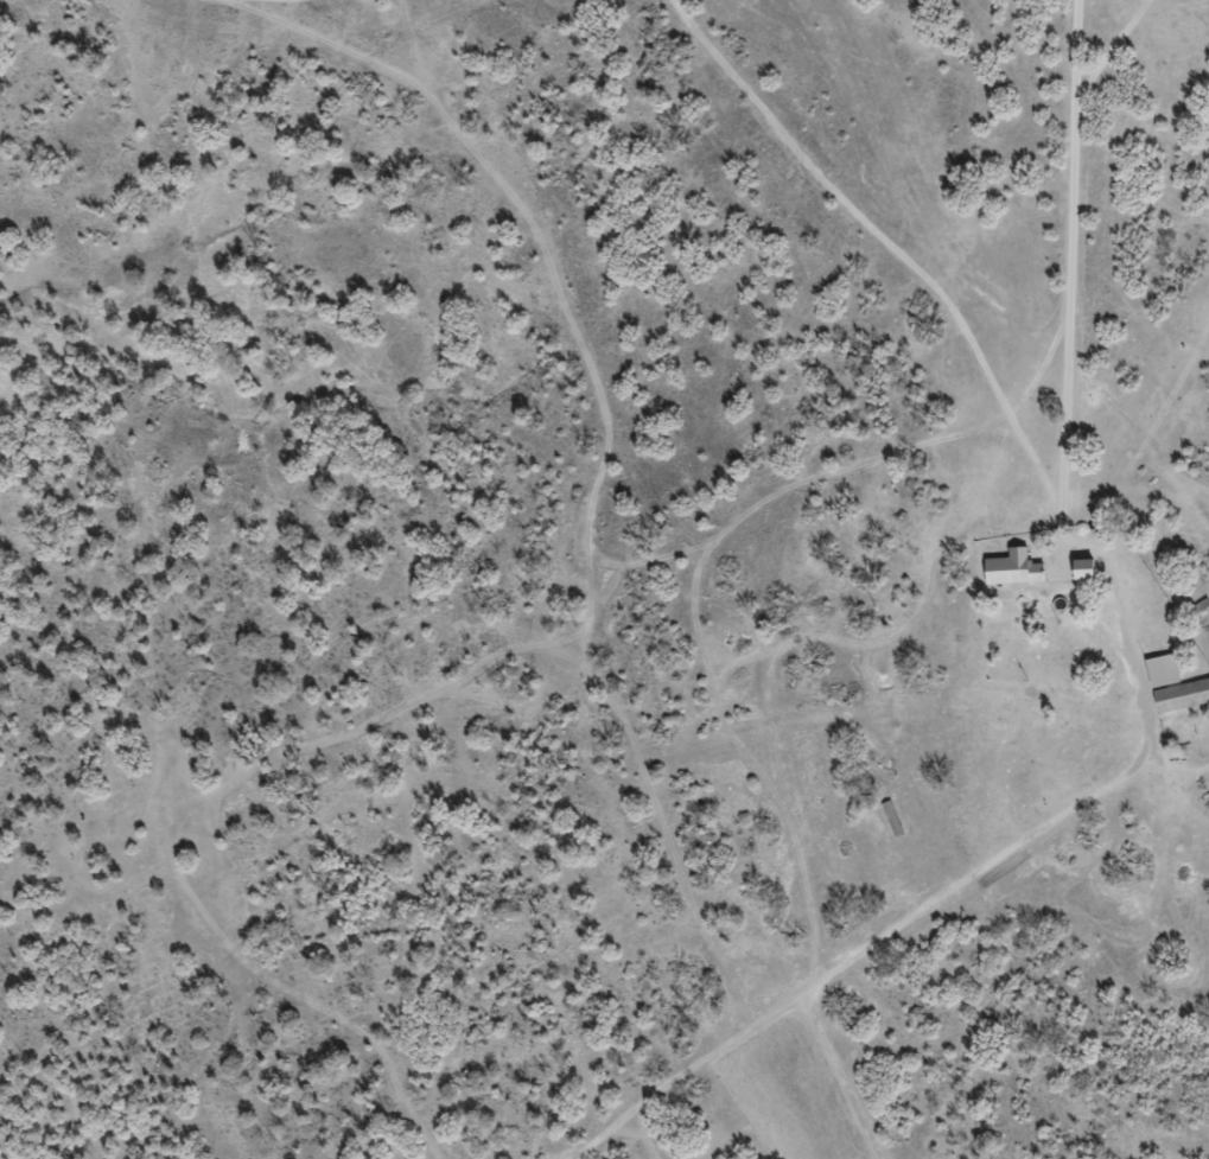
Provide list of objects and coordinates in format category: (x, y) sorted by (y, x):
road: (1064, 237)
road: (953, 441)
building: (1010, 568)
building: (1077, 568)

